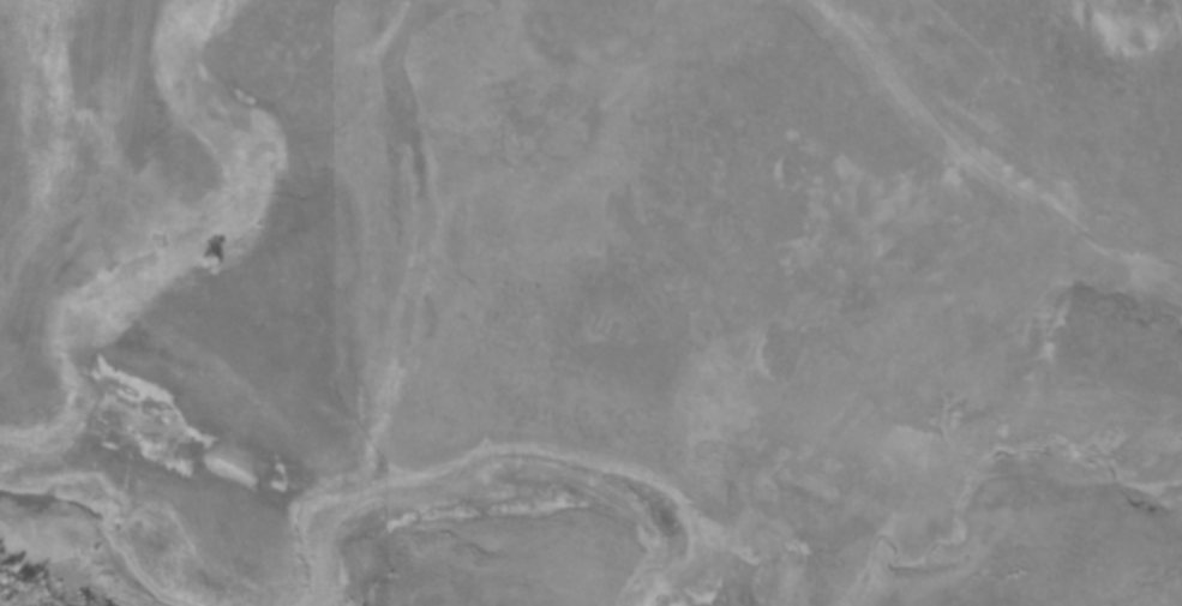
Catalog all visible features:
road: (913, 112)

